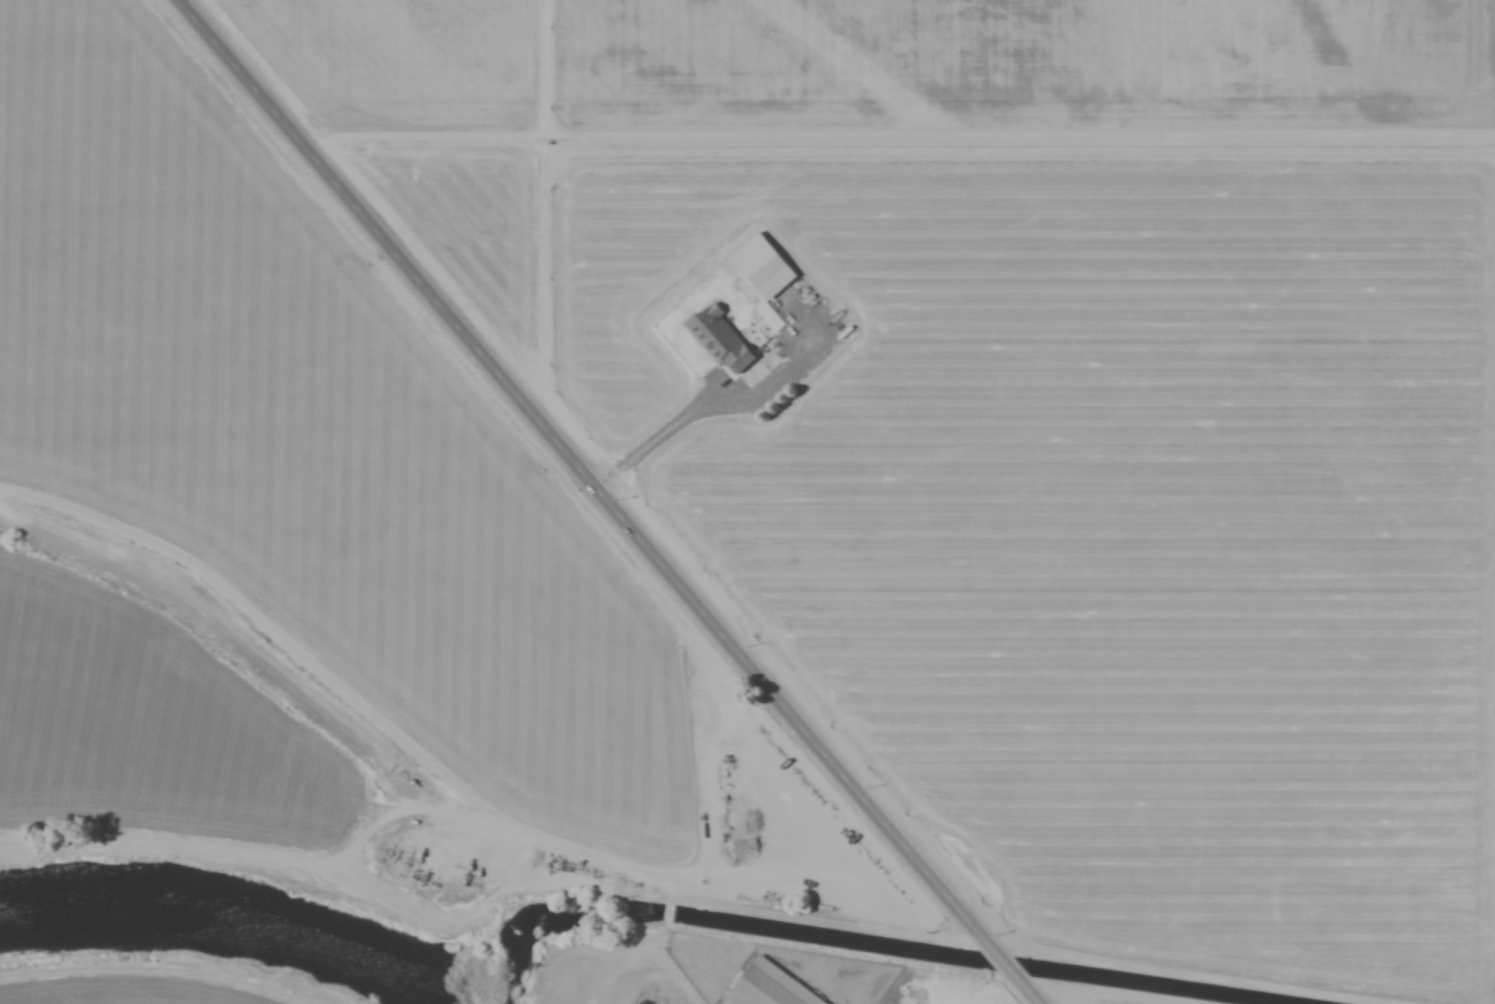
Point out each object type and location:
building: (751, 257)
building: (719, 342)
road: (655, 439)
road: (581, 471)
road: (699, 749)
road: (667, 913)
road: (1000, 960)
road: (672, 968)
road: (160, 969)
building: (767, 988)
road: (1025, 990)
road: (1087, 994)

